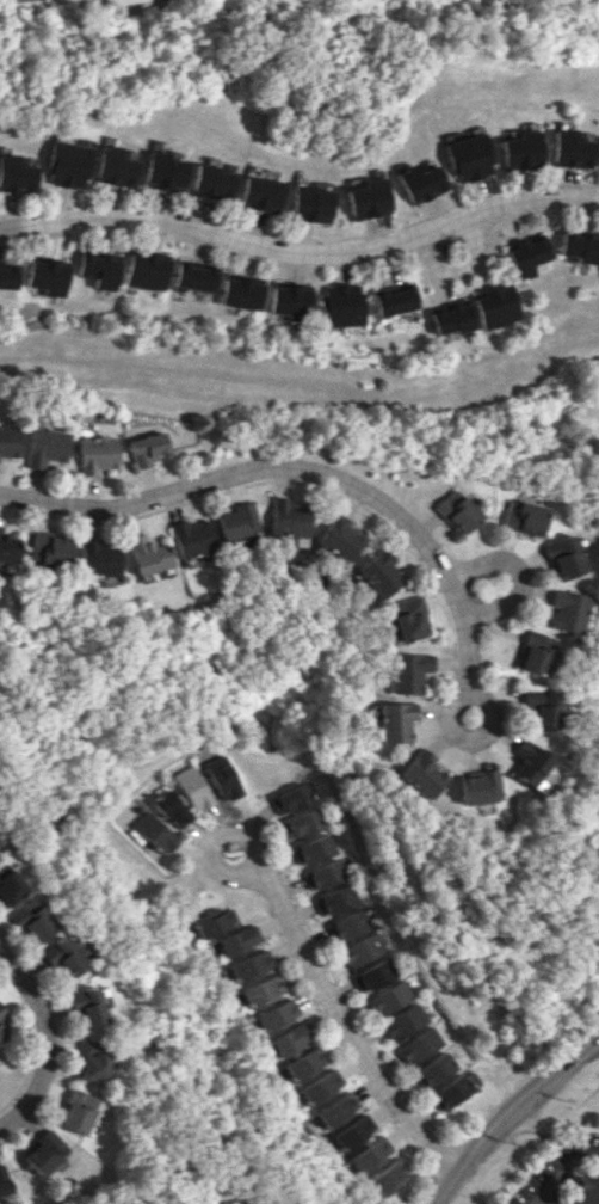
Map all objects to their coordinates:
building: (569, 149)
building: (520, 150)
building: (467, 158)
building: (67, 164)
building: (115, 166)
building: (165, 171)
building: (16, 174)
building: (210, 182)
building: (418, 182)
building: (259, 192)
building: (366, 198)
building: (310, 203)
building: (580, 246)
road: (301, 248)
building: (527, 256)
road: (461, 265)
building: (101, 269)
building: (149, 270)
building: (10, 276)
building: (50, 276)
building: (197, 277)
building: (243, 291)
building: (292, 299)
building: (396, 299)
building: (499, 306)
building: (455, 317)
building: (10, 441)
building: (45, 447)
building: (147, 448)
building: (97, 453)
road: (299, 468)
building: (458, 511)
building: (523, 517)
building: (289, 518)
building: (236, 521)
building: (191, 537)
building: (340, 539)
building: (8, 548)
building: (48, 549)
building: (144, 554)
building: (561, 557)
building: (95, 558)
building: (378, 573)
road: (518, 573)
building: (564, 610)
building: (408, 619)
building: (533, 652)
building: (407, 671)
building: (541, 707)
building: (393, 721)
road: (464, 735)
building: (525, 762)
building: (420, 774)
building: (223, 778)
building: (475, 786)
building: (196, 787)
building: (290, 799)
building: (175, 809)
building: (299, 823)
building: (159, 833)
building: (311, 849)
building: (321, 874)
building: (11, 889)
building: (333, 899)
building: (35, 921)
building: (217, 921)
building: (345, 924)
building: (241, 940)
building: (360, 950)
building: (64, 957)
building: (253, 965)
road: (311, 969)
building: (371, 975)
building: (265, 990)
building: (388, 997)
building: (87, 1005)
building: (2, 1013)
building: (278, 1014)
building: (403, 1022)
building: (1, 1036)
road: (44, 1039)
building: (290, 1039)
building: (421, 1044)
building: (88, 1061)
building: (307, 1063)
building: (434, 1069)
building: (322, 1086)
building: (450, 1092)
building: (338, 1110)
road: (508, 1110)
building: (75, 1111)
building: (353, 1131)
building: (42, 1153)
building: (369, 1154)
road: (563, 1169)
building: (388, 1177)
building: (2, 1185)
building: (586, 1190)

